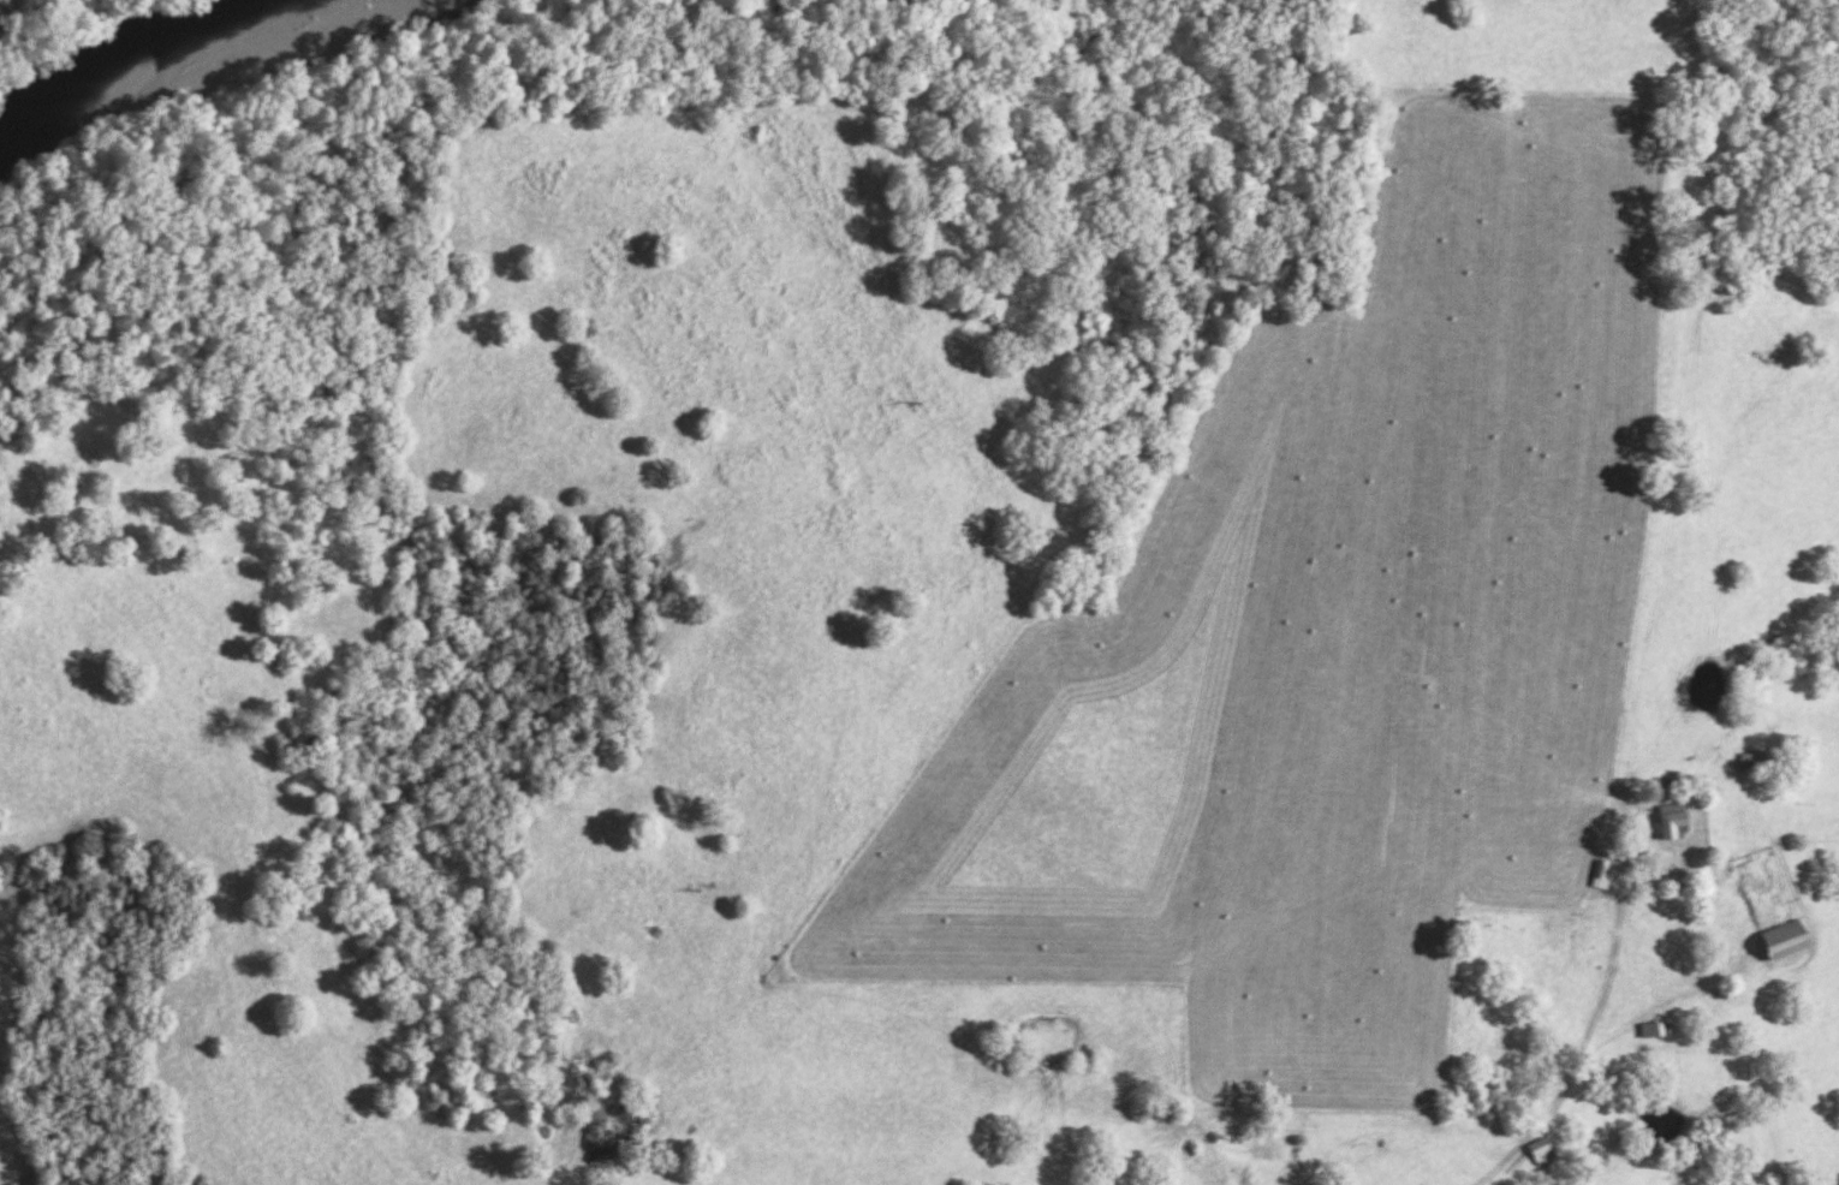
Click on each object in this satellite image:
river: (131, 35)
building: (1754, 762)
building: (1677, 823)
building: (1605, 876)
building: (1793, 941)
building: (1656, 1031)
road: (1590, 1048)
building: (1546, 1153)

